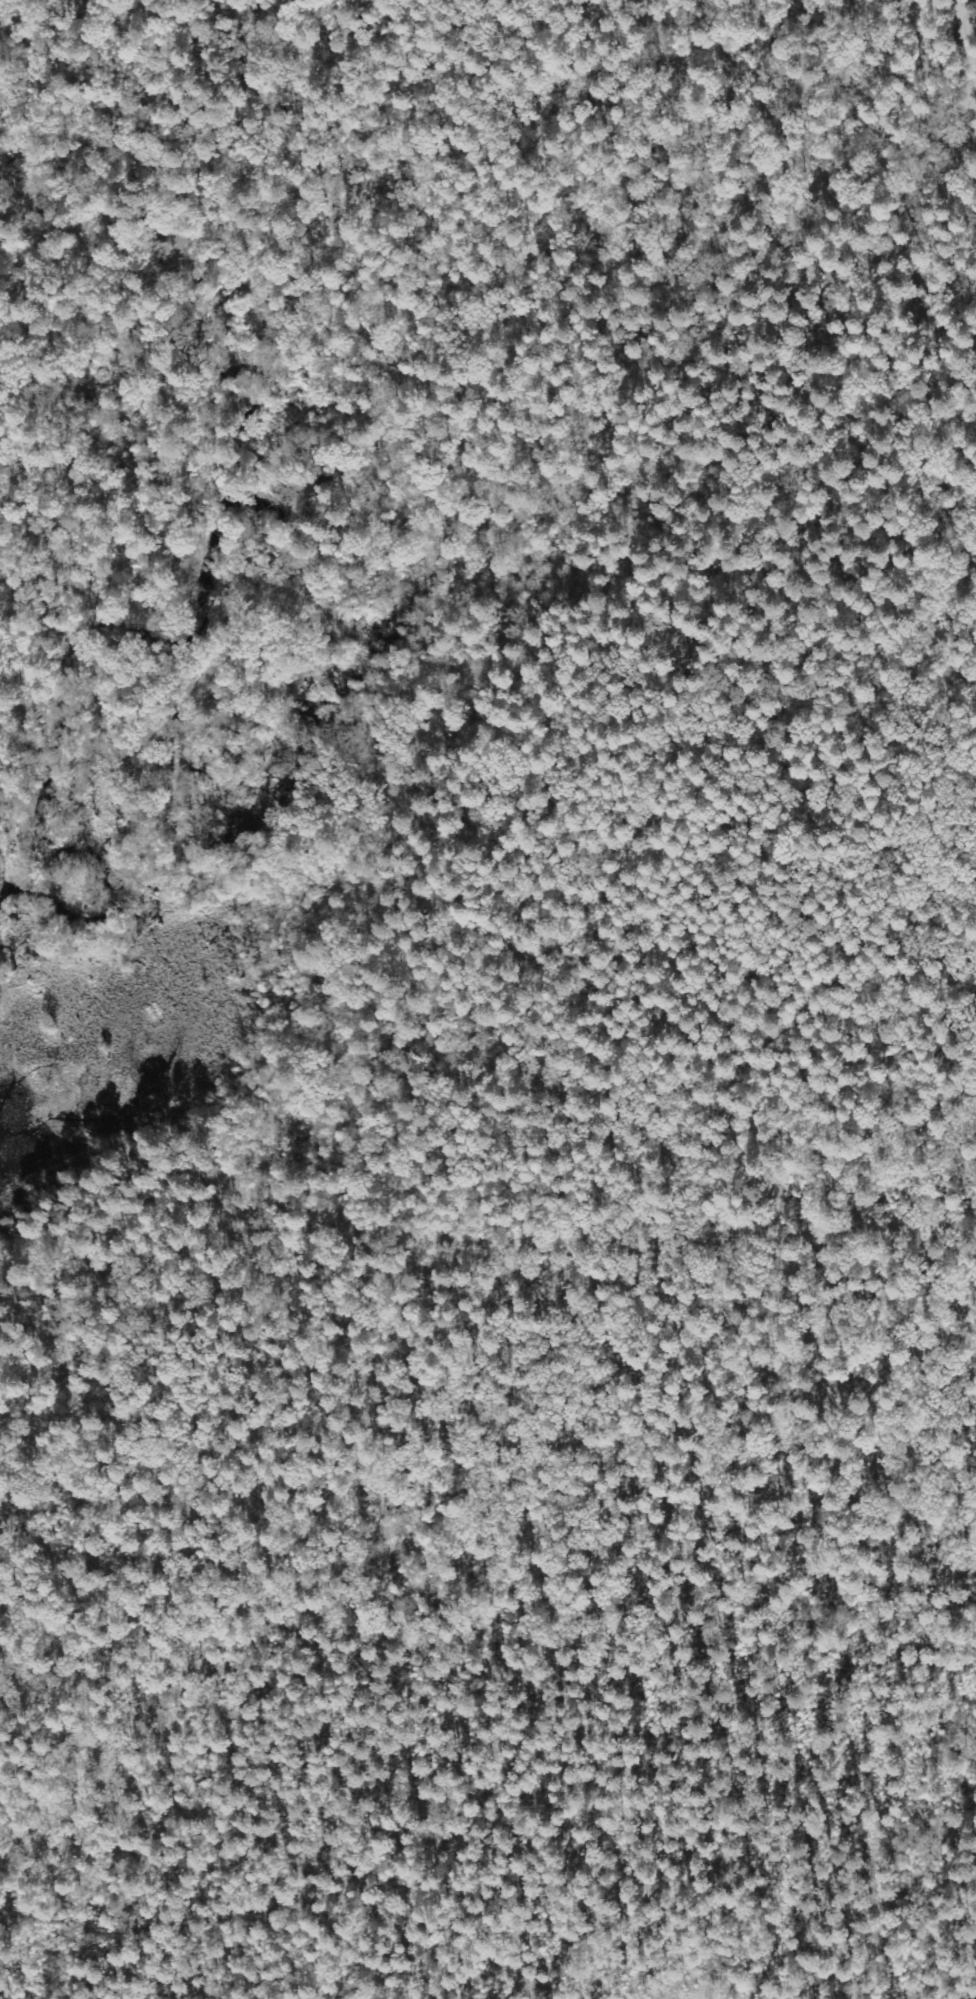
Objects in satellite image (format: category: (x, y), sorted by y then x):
road: (934, 103)
road: (565, 1270)

